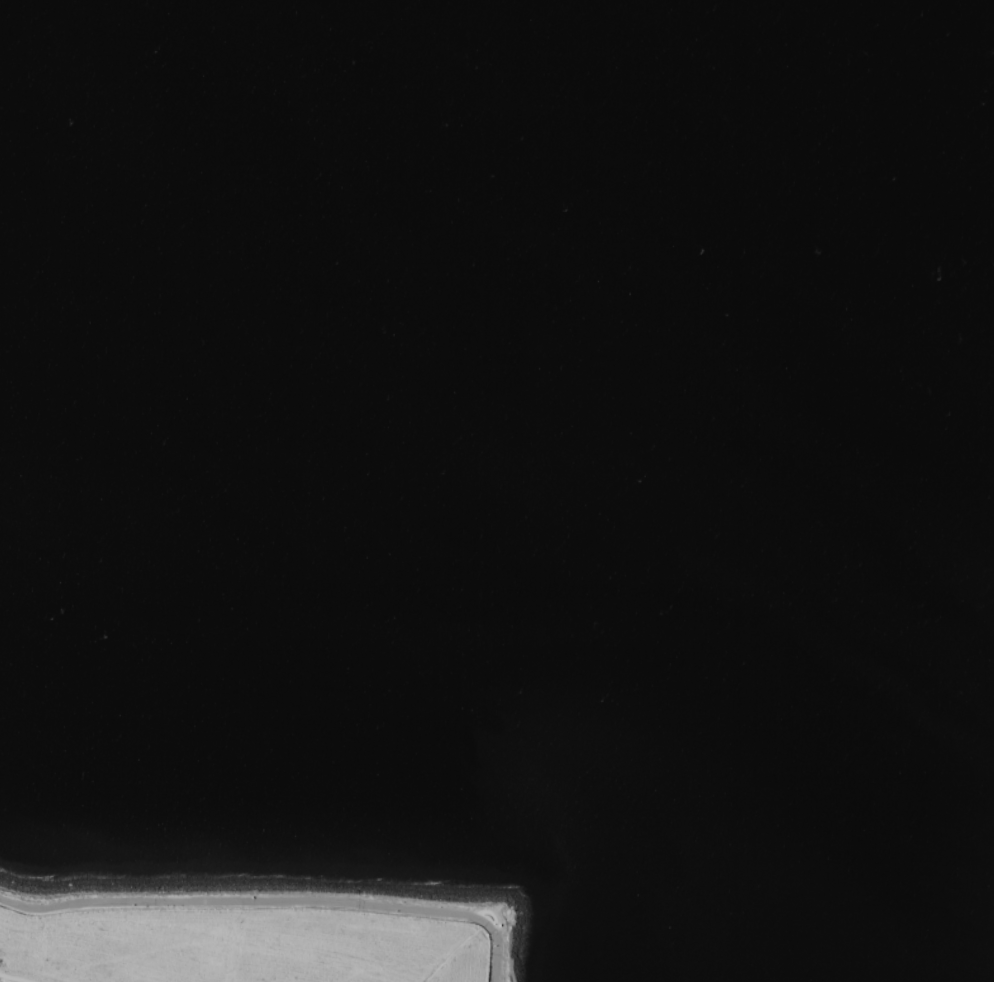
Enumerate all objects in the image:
road: (274, 901)
road: (488, 912)
park: (248, 937)
road: (452, 951)
road: (511, 962)
road: (18, 977)

